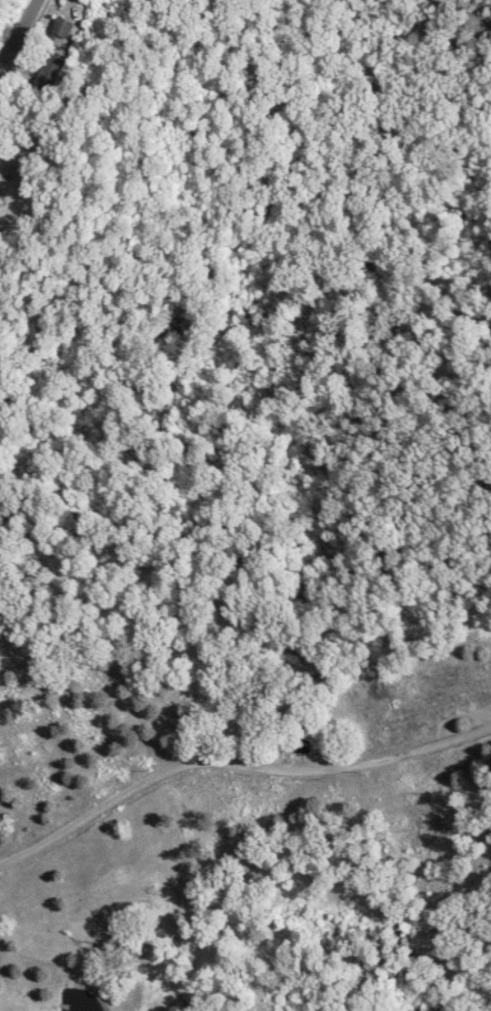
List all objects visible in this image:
road: (8, 14)
building: (58, 68)
road: (235, 764)

